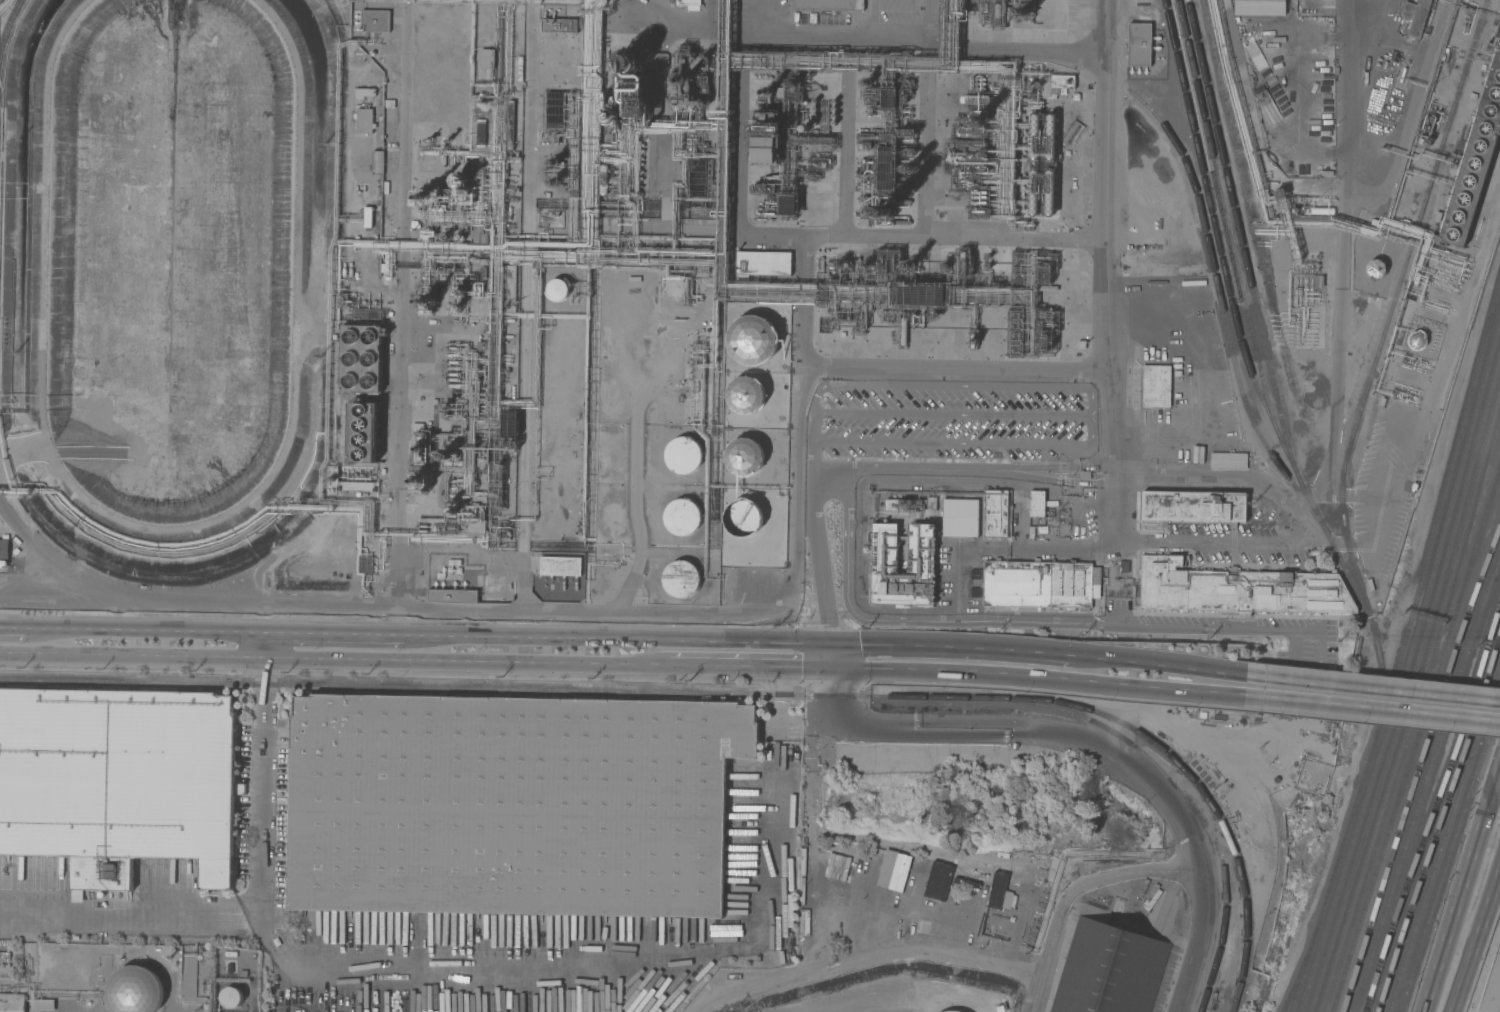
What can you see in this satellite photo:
building: (689, 4)
building: (828, 4)
building: (1259, 7)
building: (998, 14)
building: (1417, 17)
building: (374, 21)
building: (559, 25)
building: (1139, 44)
road: (1042, 54)
building: (486, 58)
building: (629, 62)
building: (519, 68)
building: (684, 77)
building: (1061, 84)
building: (364, 92)
road: (1348, 94)
building: (889, 98)
building: (975, 98)
building: (554, 107)
building: (607, 115)
building: (364, 121)
building: (481, 123)
building: (1066, 131)
building: (971, 132)
building: (1034, 136)
building: (1050, 136)
building: (765, 149)
building: (969, 151)
building: (430, 152)
road: (846, 158)
road: (926, 158)
building: (1475, 161)
building: (377, 162)
building: (886, 168)
building: (697, 177)
building: (603, 179)
building: (1493, 179)
building: (460, 180)
building: (1033, 192)
building: (1049, 192)
building: (428, 196)
building: (788, 205)
building: (1318, 210)
railway: (1226, 212)
building: (367, 216)
railway: (1242, 236)
road: (845, 238)
building: (889, 262)
building: (388, 263)
building: (763, 263)
building: (963, 265)
building: (1018, 266)
road: (1106, 269)
building: (1376, 269)
building: (1043, 273)
railway: (1226, 273)
building: (489, 288)
building: (557, 289)
building: (921, 294)
road: (1458, 318)
building: (903, 331)
building: (1015, 332)
building: (1043, 340)
building: (1417, 340)
building: (753, 341)
building: (361, 359)
railway: (1236, 364)
road: (954, 370)
railway: (1371, 378)
building: (1222, 384)
building: (1155, 386)
road: (816, 390)
building: (746, 395)
building: (509, 425)
building: (362, 432)
road: (812, 439)
road: (964, 442)
building: (421, 448)
building: (683, 455)
building: (744, 457)
building: (1228, 460)
road: (927, 466)
building: (931, 503)
building: (1037, 503)
building: (903, 505)
building: (1194, 506)
building: (996, 513)
road: (847, 515)
building: (682, 517)
building: (743, 517)
building: (960, 517)
road: (1296, 517)
building: (474, 519)
building: (447, 528)
road: (1066, 546)
building: (4, 548)
building: (921, 548)
road: (637, 559)
building: (560, 565)
building: (681, 579)
building: (1040, 584)
building: (1374, 585)
building: (1239, 589)
building: (452, 596)
road: (394, 599)
road: (514, 616)
road: (12, 628)
road: (147, 631)
road: (348, 635)
road: (629, 641)
traffic signals: (833, 646)
road: (959, 649)
railway: (1401, 653)
road: (320, 659)
road: (738, 667)
road: (1166, 667)
traffic signals: (836, 669)
railway: (1406, 669)
road: (1041, 677)
railway: (435, 687)
railway: (1410, 688)
road: (1374, 690)
railway: (1415, 706)
road: (1373, 708)
railway: (1416, 742)
railway: (1158, 745)
railway: (1419, 770)
railway: (1450, 770)
building: (118, 780)
road: (1144, 782)
road: (266, 786)
railway: (1425, 786)
railway: (1179, 793)
building: (511, 804)
road: (1482, 819)
railway: (1440, 825)
railway: (1446, 839)
railway: (1451, 853)
road: (1155, 869)
building: (893, 870)
building: (938, 881)
building: (997, 890)
road: (834, 906)
road: (113, 908)
railway: (1225, 928)
building: (1027, 932)
road: (865, 937)
road: (1477, 938)
road: (1444, 943)
road: (869, 960)
building: (1109, 970)
railway: (1380, 970)
road: (593, 974)
railway: (1297, 982)
building: (134, 990)
road: (1037, 995)
building: (230, 996)
building: (12, 1002)
building: (43, 1005)
building: (953, 1011)

